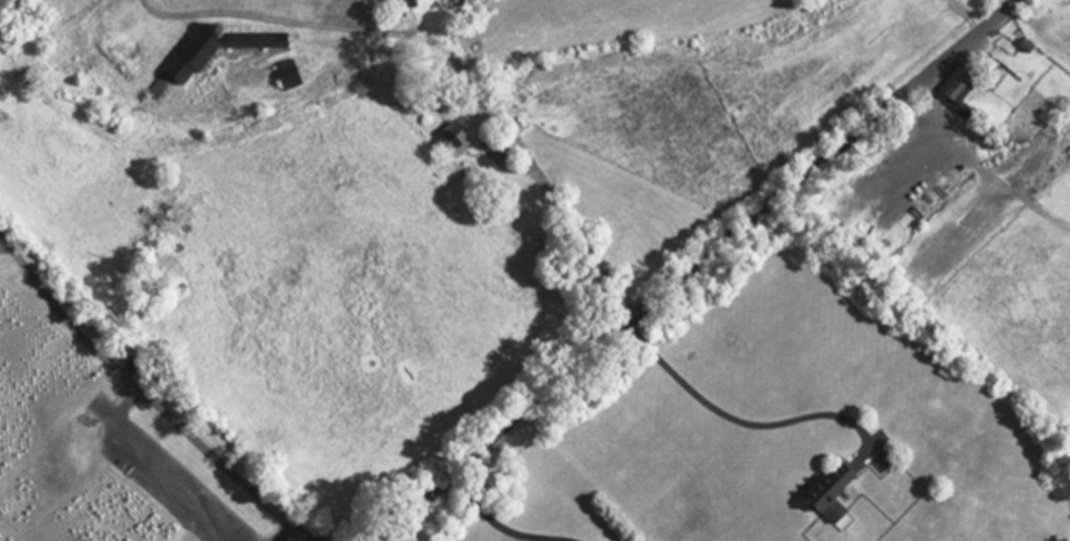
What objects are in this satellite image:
building: (394, 6)
road: (451, 58)
crop: (696, 76)
building: (949, 93)
building: (443, 140)
road: (696, 266)
crop: (290, 269)
road: (151, 399)
road: (738, 420)
building: (820, 494)
building: (836, 494)
road: (492, 528)

